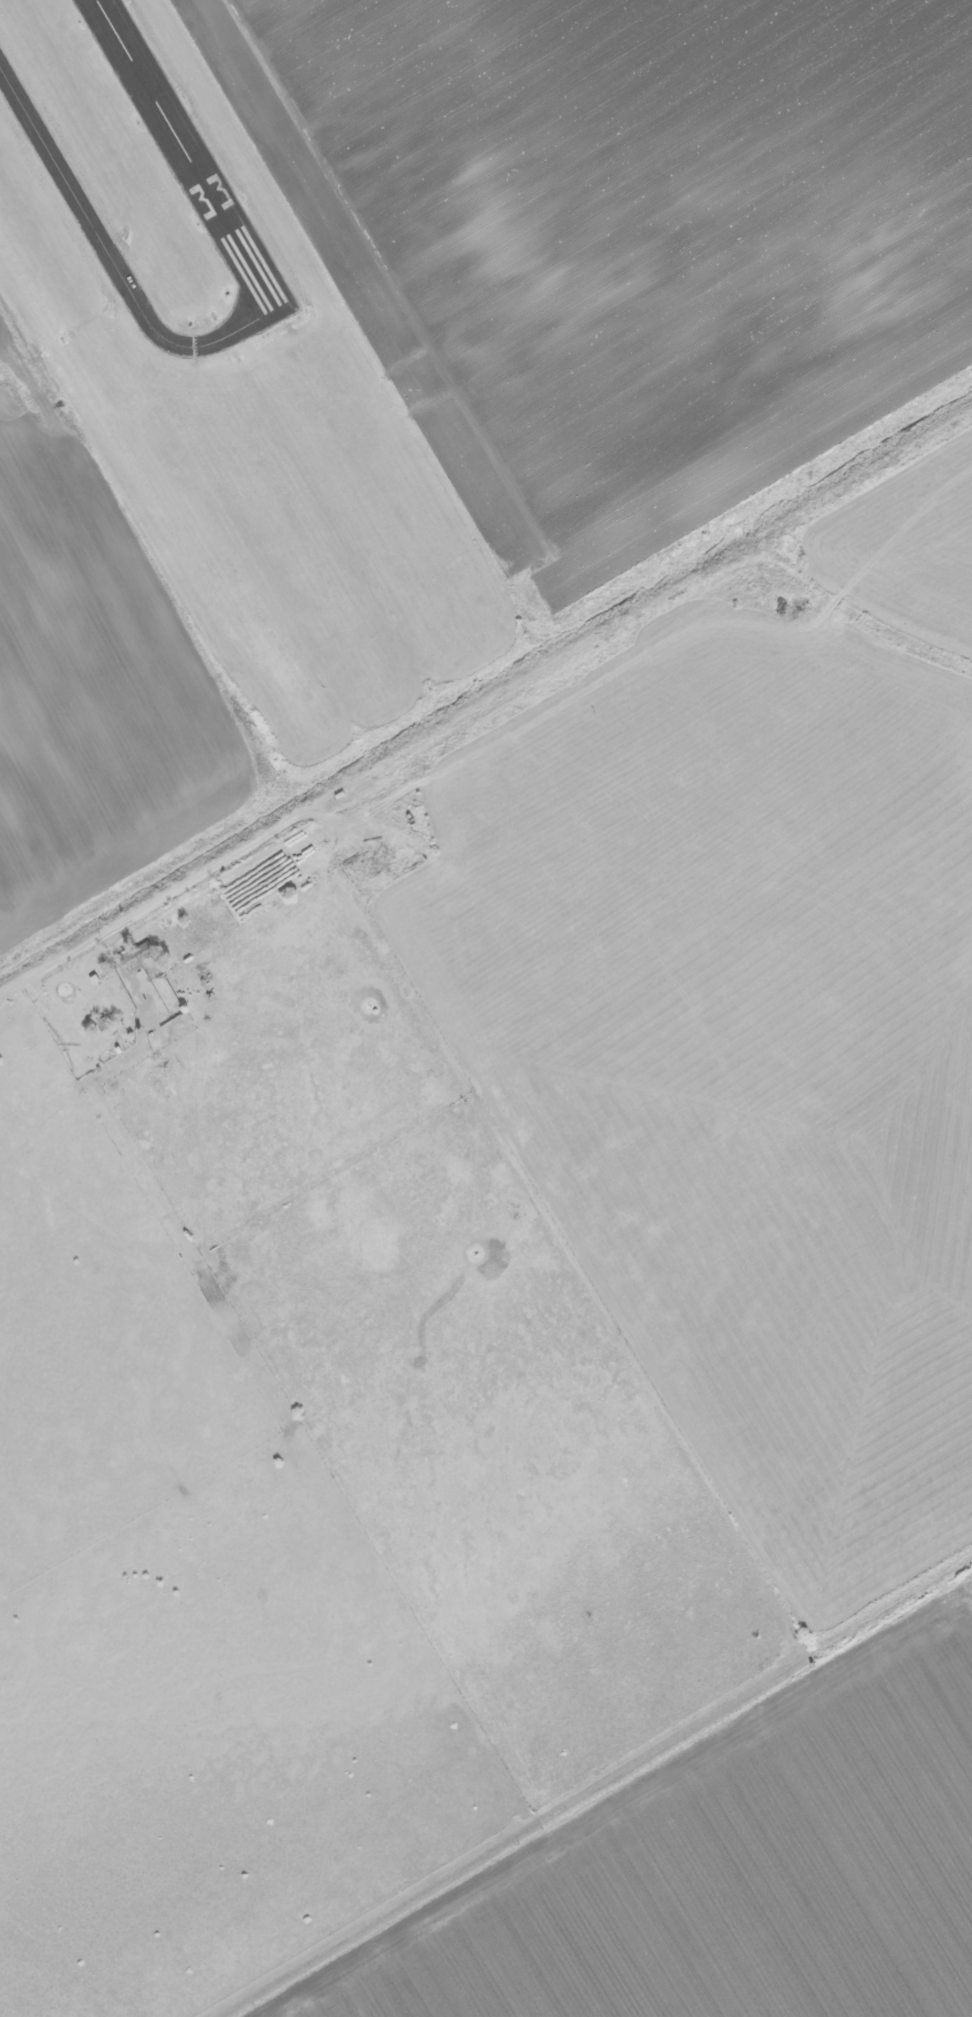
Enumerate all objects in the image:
airport runway: (183, 156)
airport taxiway: (112, 262)
airport: (226, 399)

